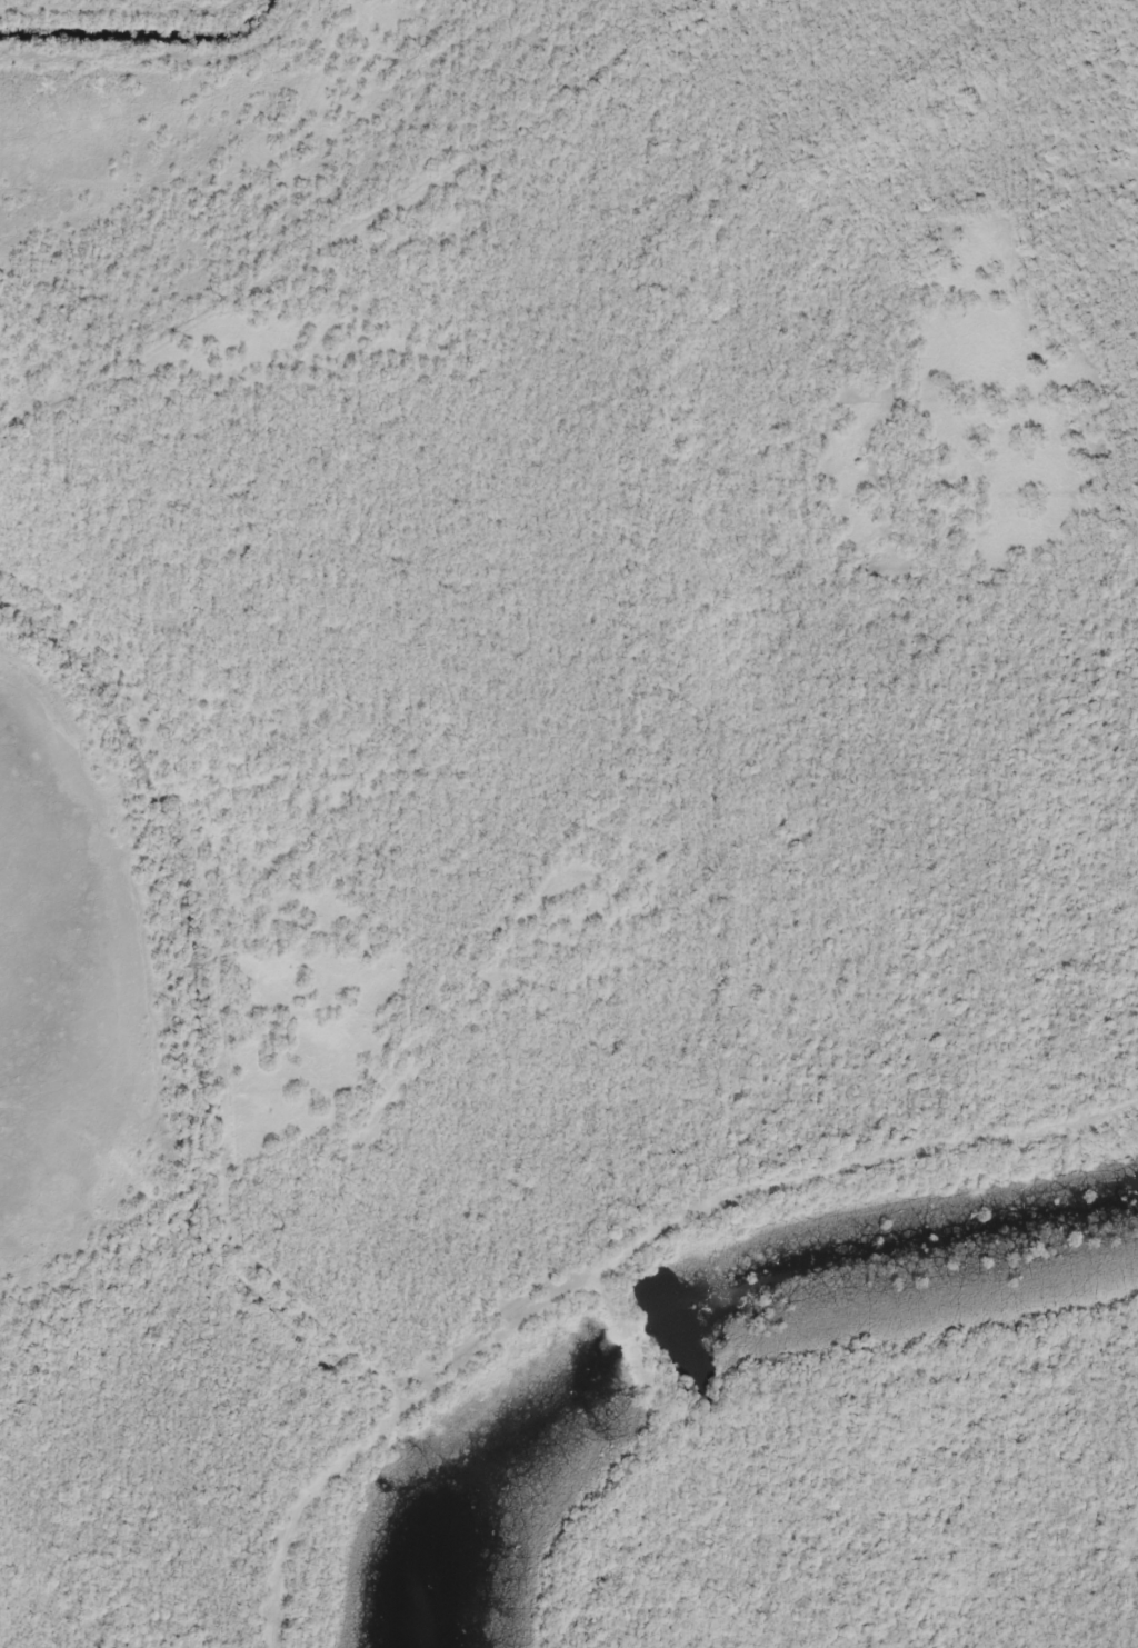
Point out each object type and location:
road: (224, 857)
river: (902, 1278)
road: (517, 1285)
river: (517, 1389)
road: (276, 1476)

